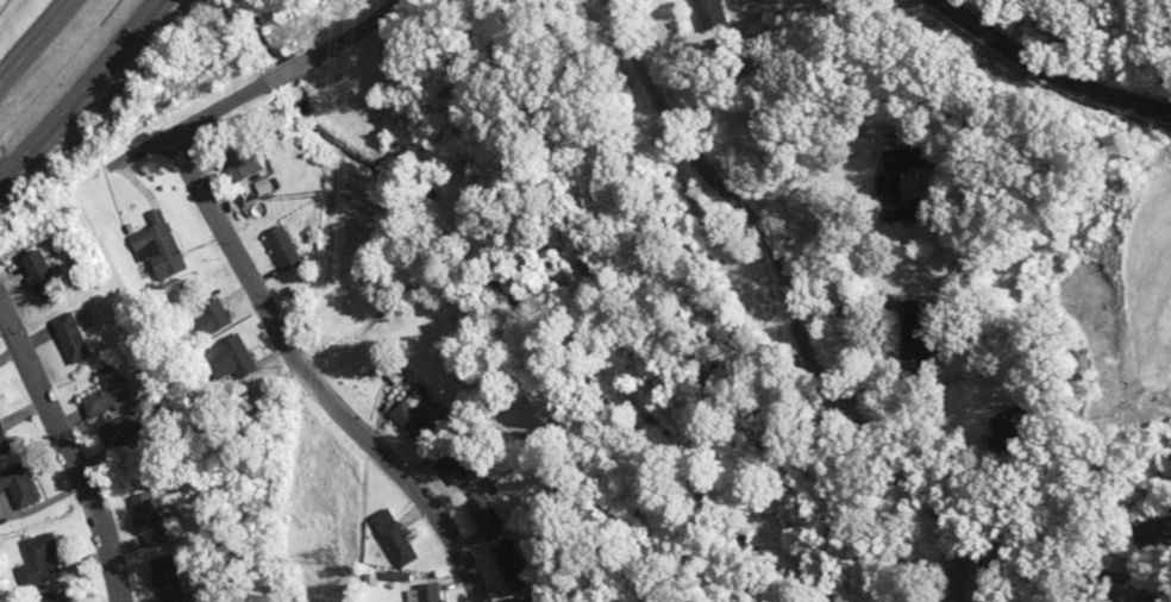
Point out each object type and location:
road: (36, 40)
road: (1076, 45)
road: (81, 92)
building: (251, 163)
building: (290, 247)
building: (164, 250)
road: (255, 257)
building: (48, 276)
road: (775, 312)
building: (82, 338)
building: (240, 369)
building: (112, 400)
building: (8, 439)
building: (130, 443)
road: (75, 446)
building: (26, 484)
building: (155, 520)
building: (394, 538)
power tower: (327, 556)
building: (43, 557)
building: (171, 579)
building: (431, 591)
building: (65, 601)
building: (538, 601)

